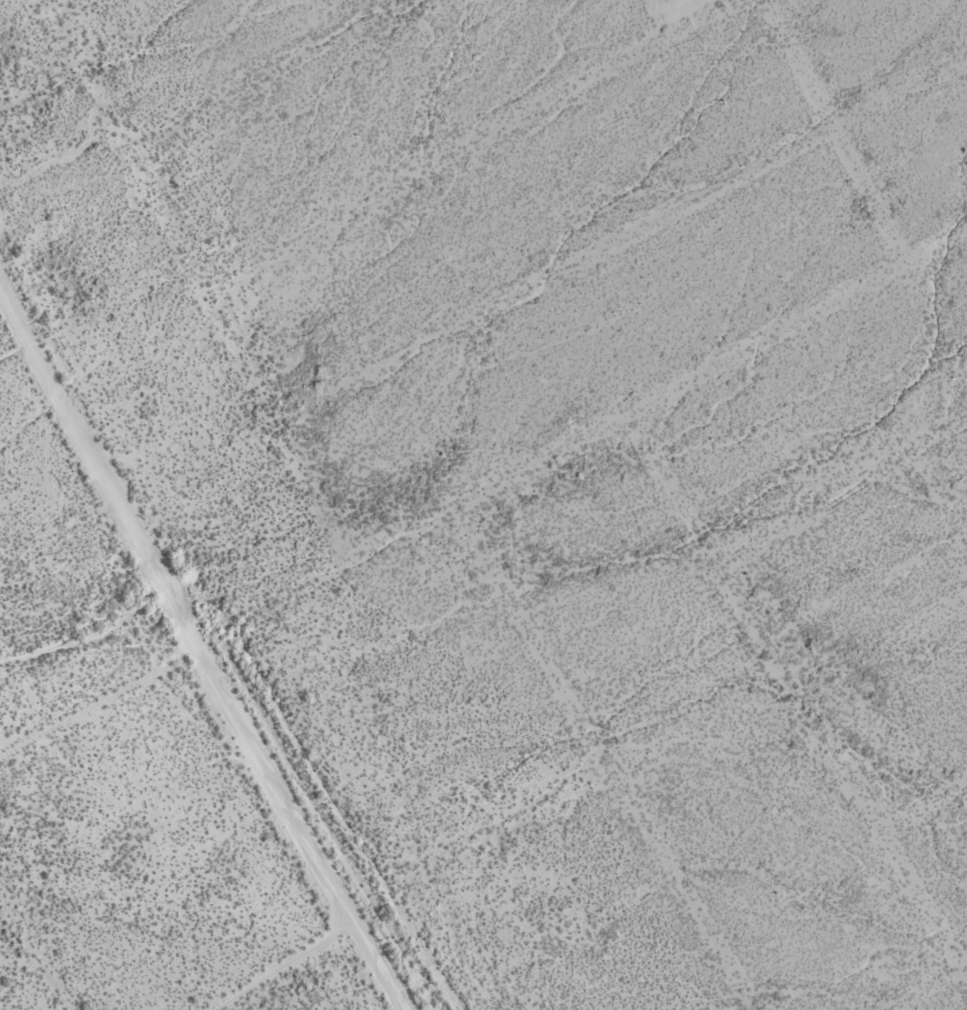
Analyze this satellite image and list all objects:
road: (262, 71)
road: (838, 130)
road: (467, 138)
road: (620, 240)
road: (204, 280)
road: (16, 346)
road: (842, 491)
road: (482, 492)
road: (199, 647)
road: (885, 650)
road: (24, 681)
road: (795, 687)
road: (606, 759)
road: (926, 803)
road: (35, 950)
road: (286, 966)
road: (932, 987)

